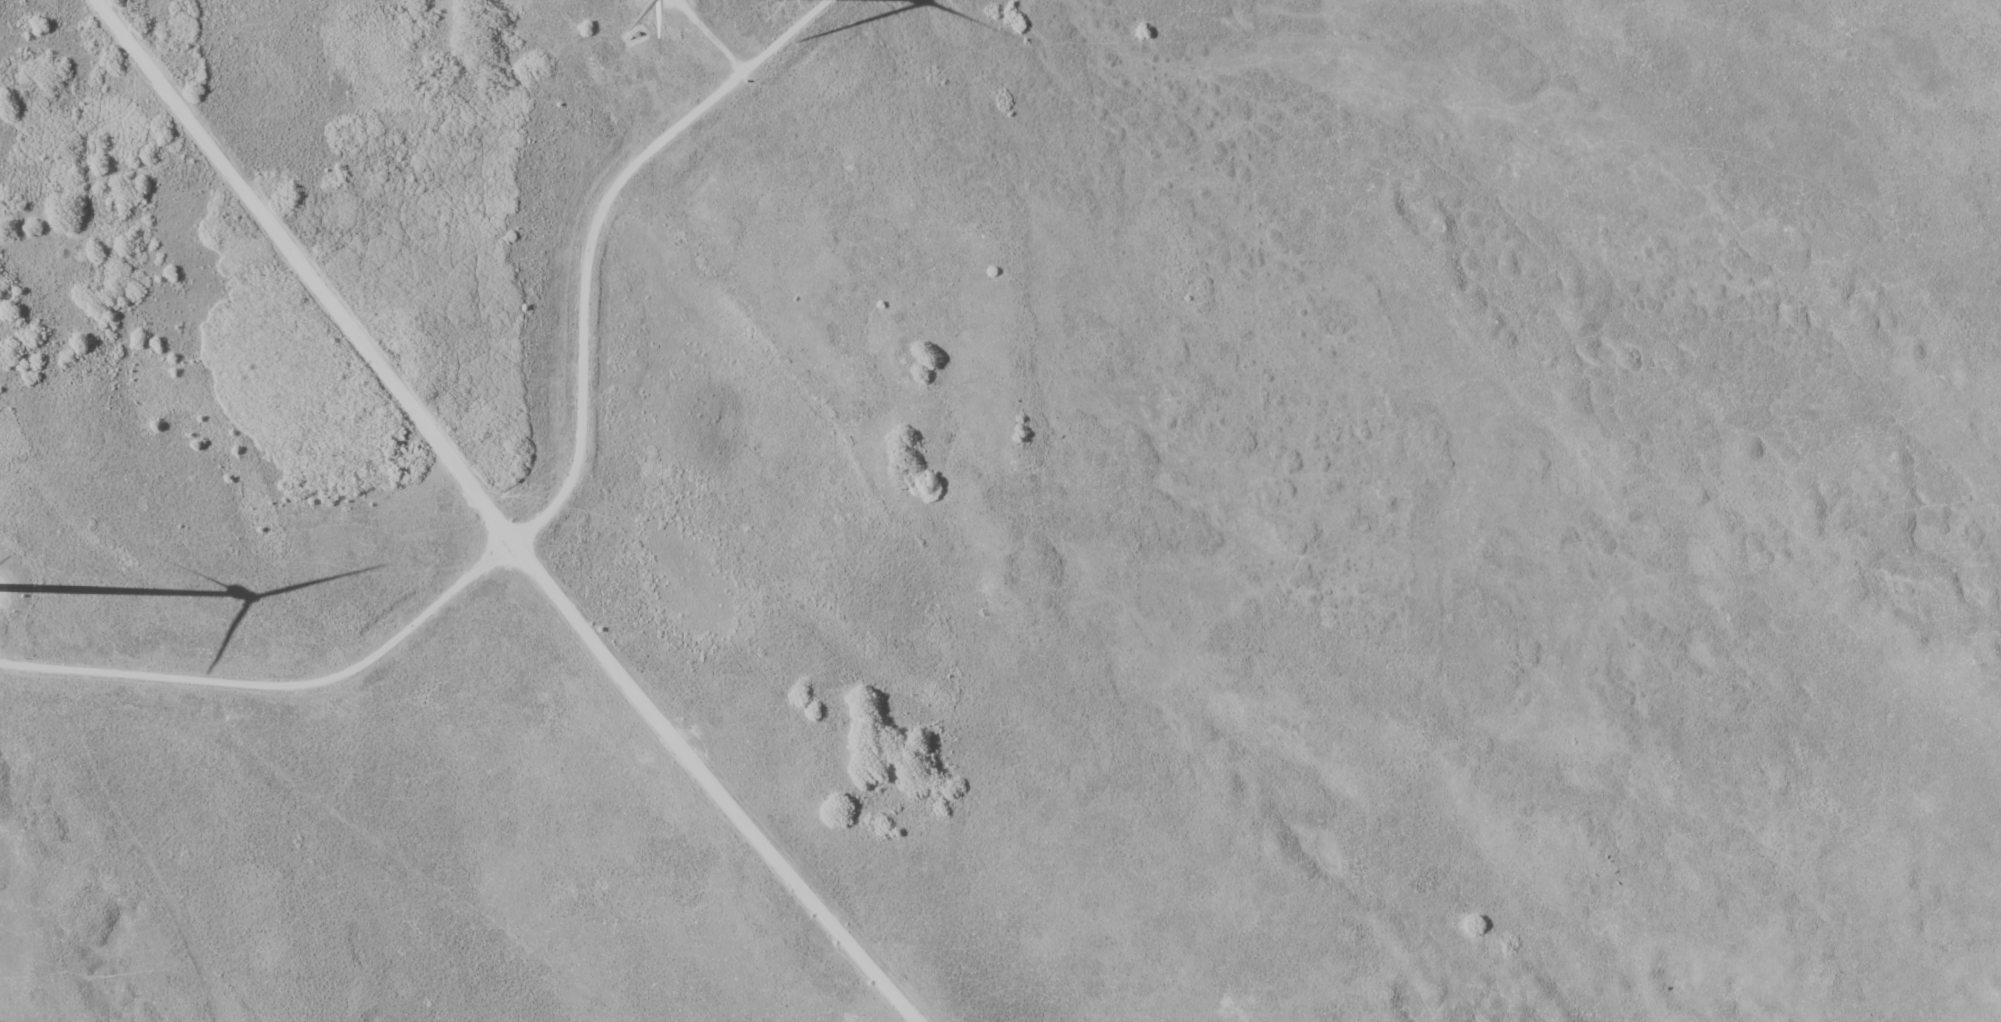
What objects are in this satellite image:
road: (508, 518)
wind turbine: (4, 587)

